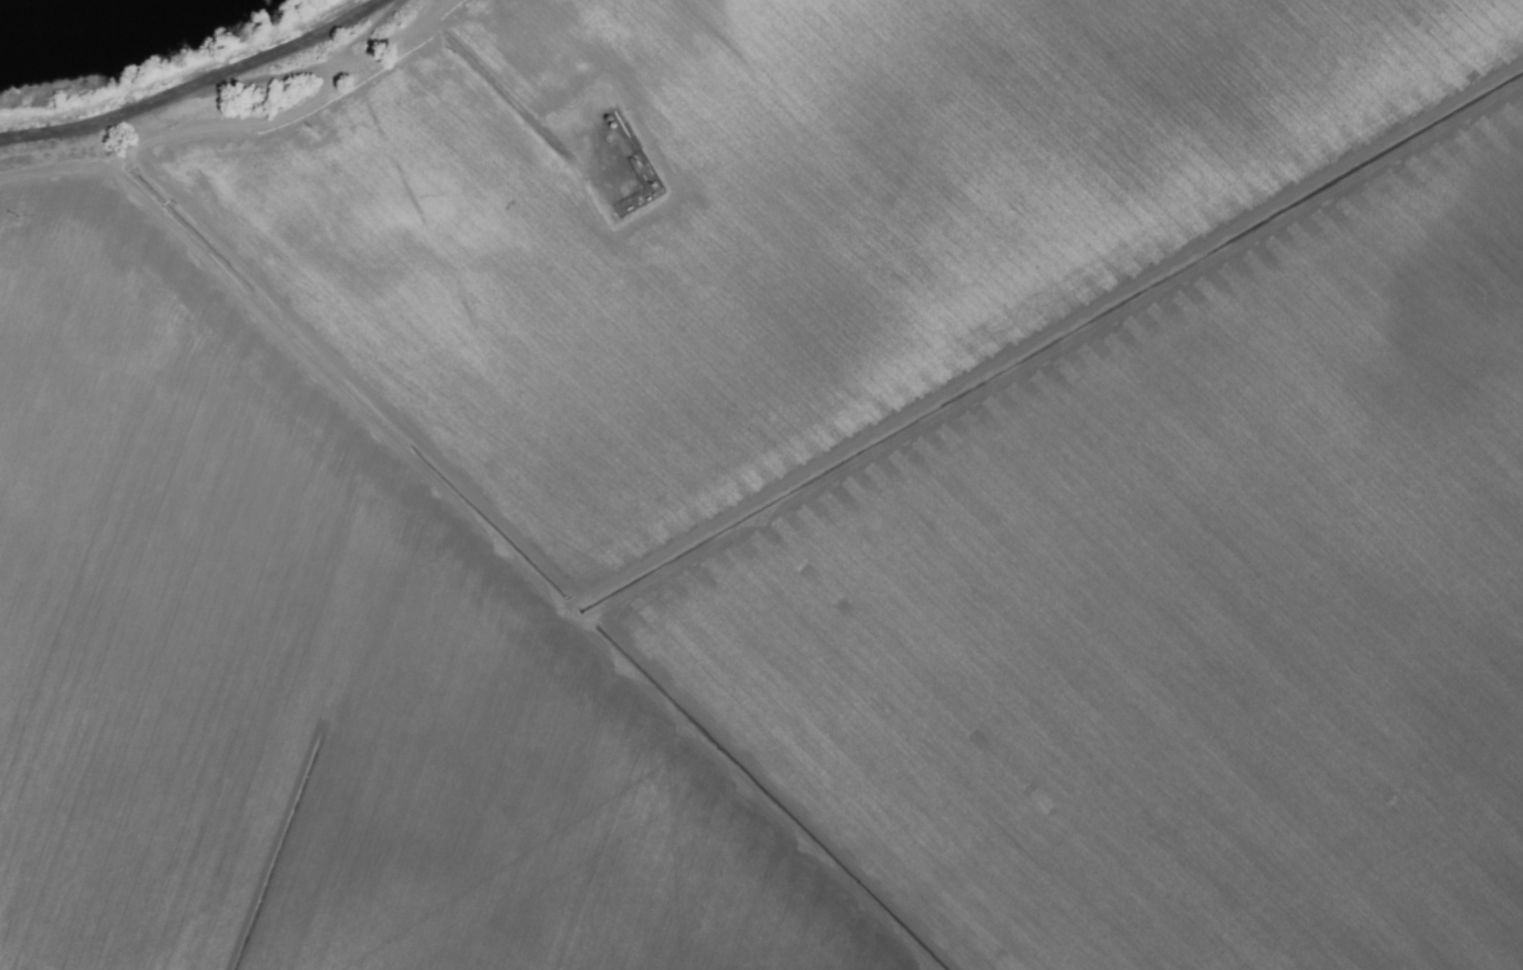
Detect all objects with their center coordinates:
road: (195, 85)
crop: (774, 493)

